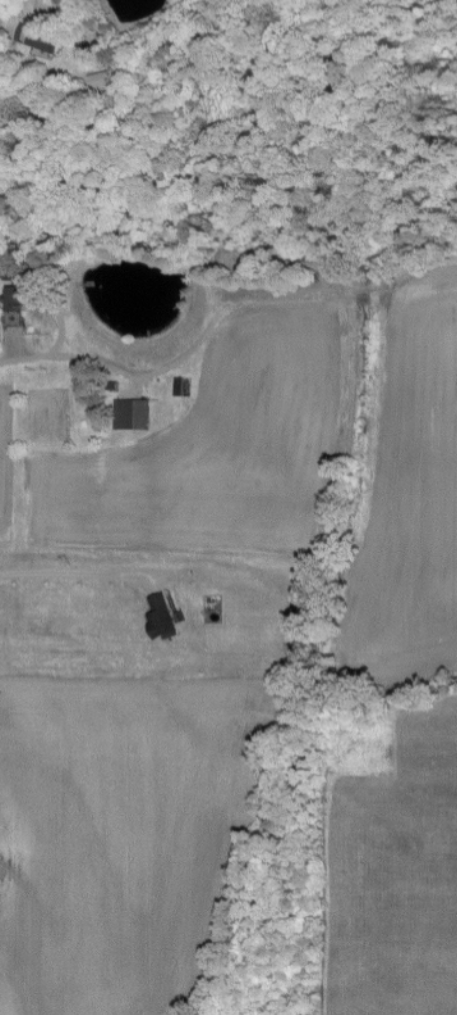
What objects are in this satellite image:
building: (36, 38)
building: (98, 80)
building: (12, 304)
road: (93, 364)
building: (129, 414)
road: (72, 573)
building: (159, 617)

